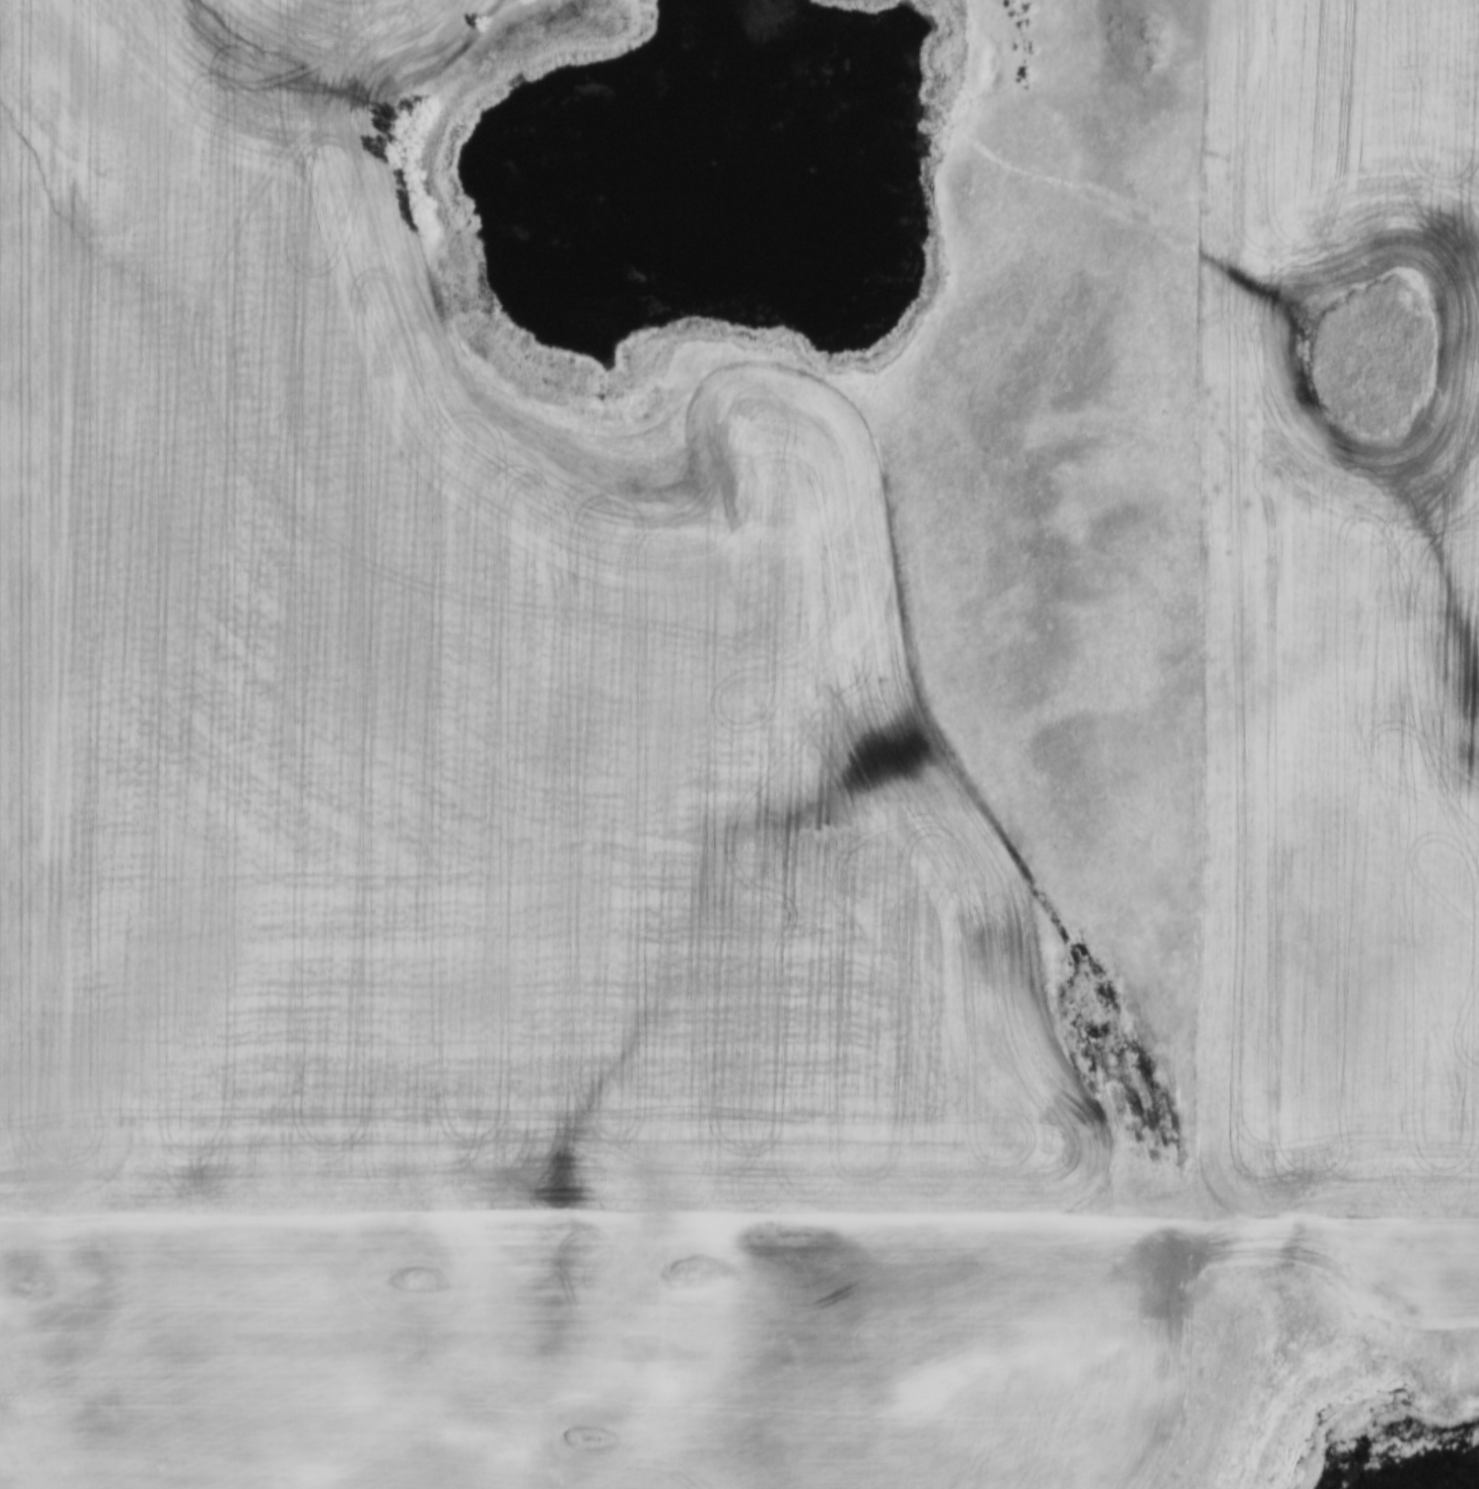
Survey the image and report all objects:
road: (739, 1214)

